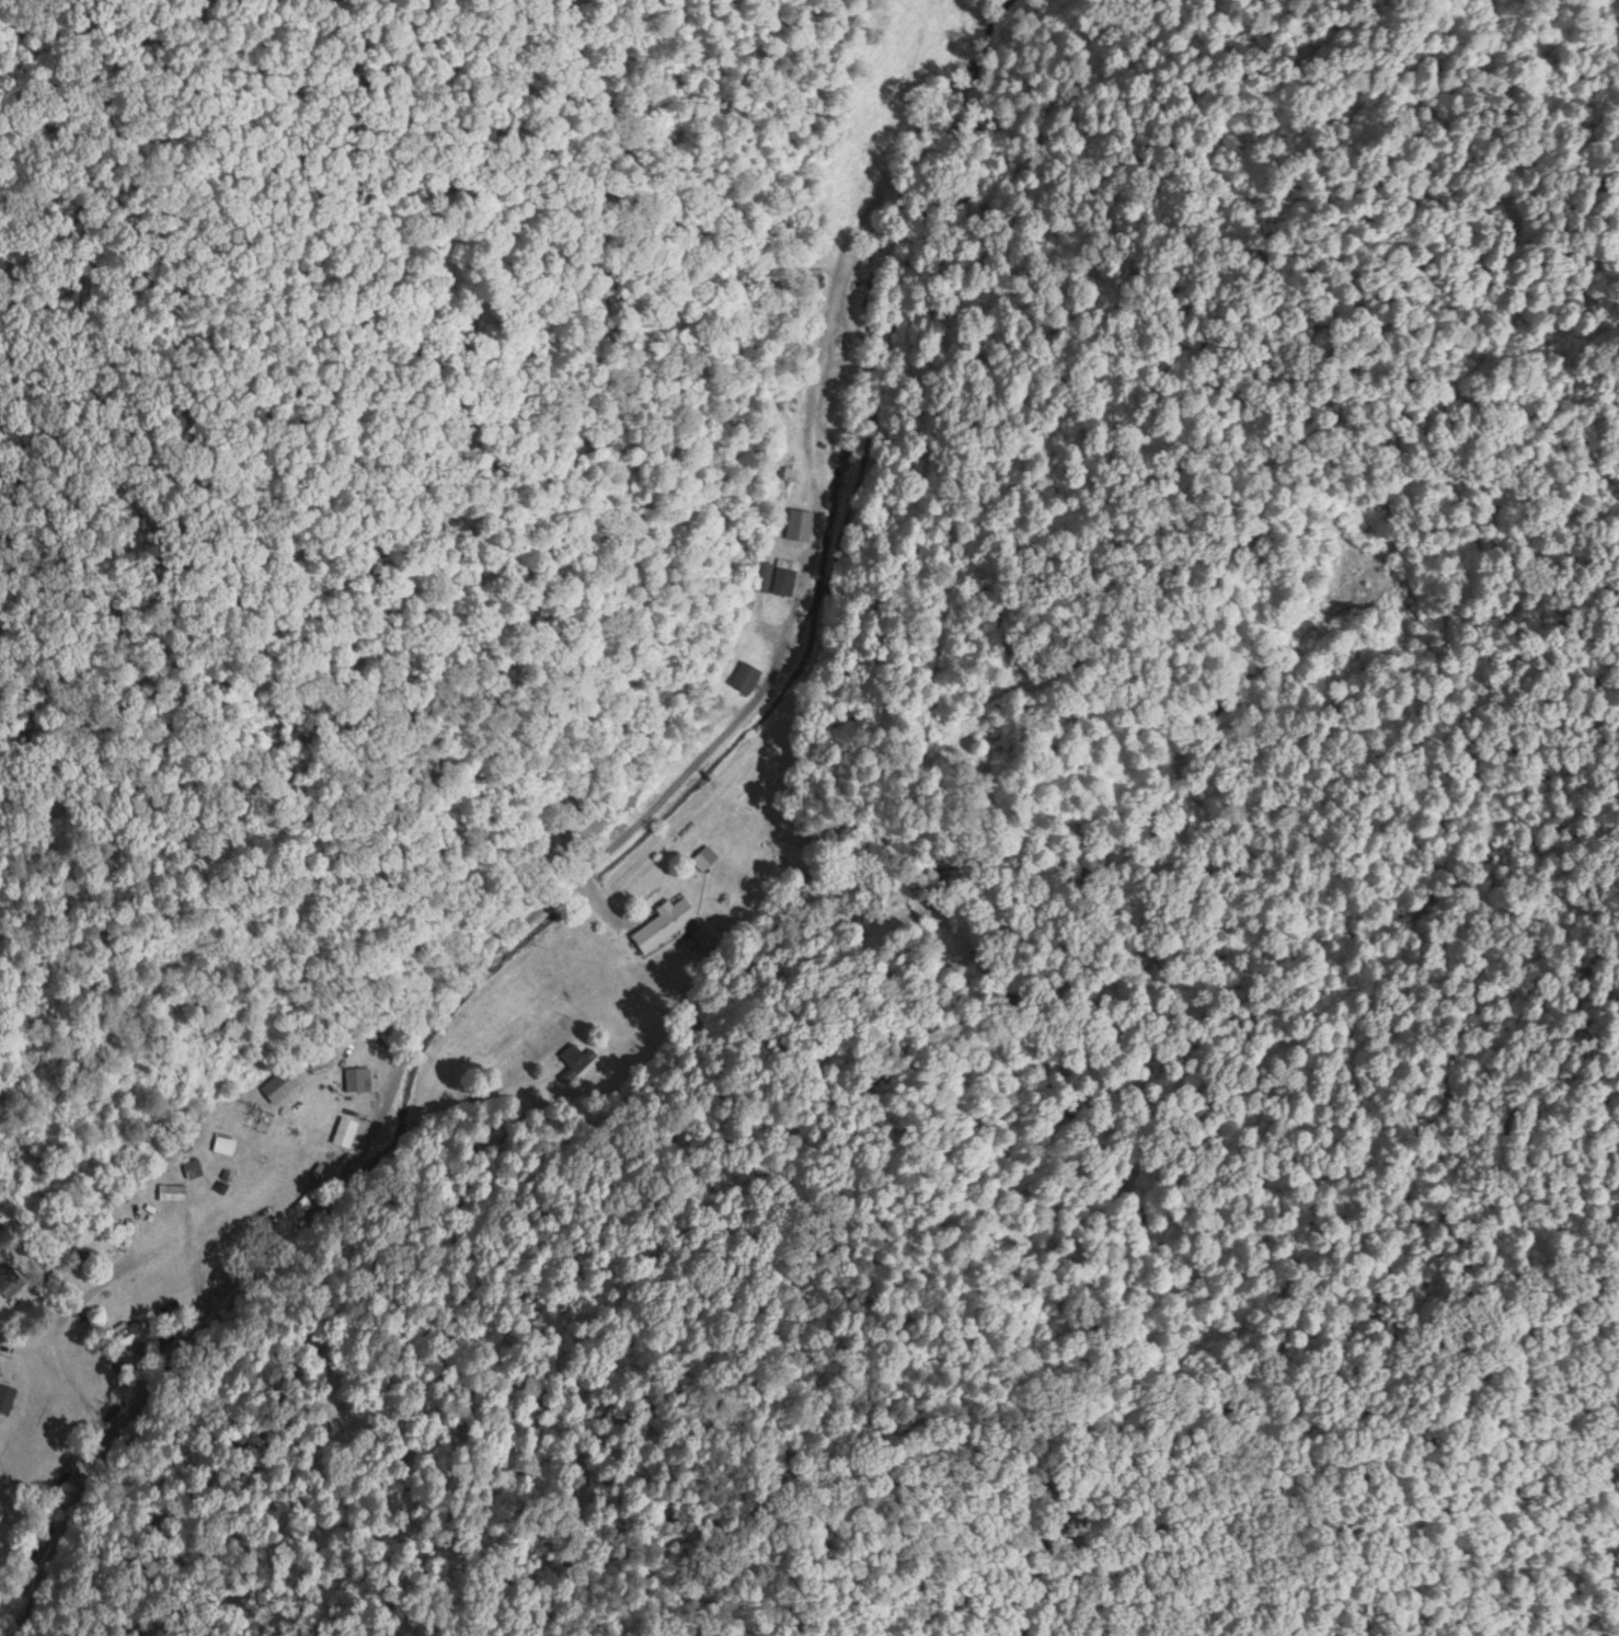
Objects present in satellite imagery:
building: (784, 573)
building: (763, 574)
building: (745, 673)
road: (470, 731)
building: (701, 857)
building: (662, 922)
road: (437, 992)
road: (423, 1004)
road: (141, 1014)
road: (439, 1015)
building: (353, 1075)
building: (279, 1081)
building: (344, 1128)
building: (222, 1141)
building: (192, 1164)
building: (171, 1188)
building: (8, 1277)

